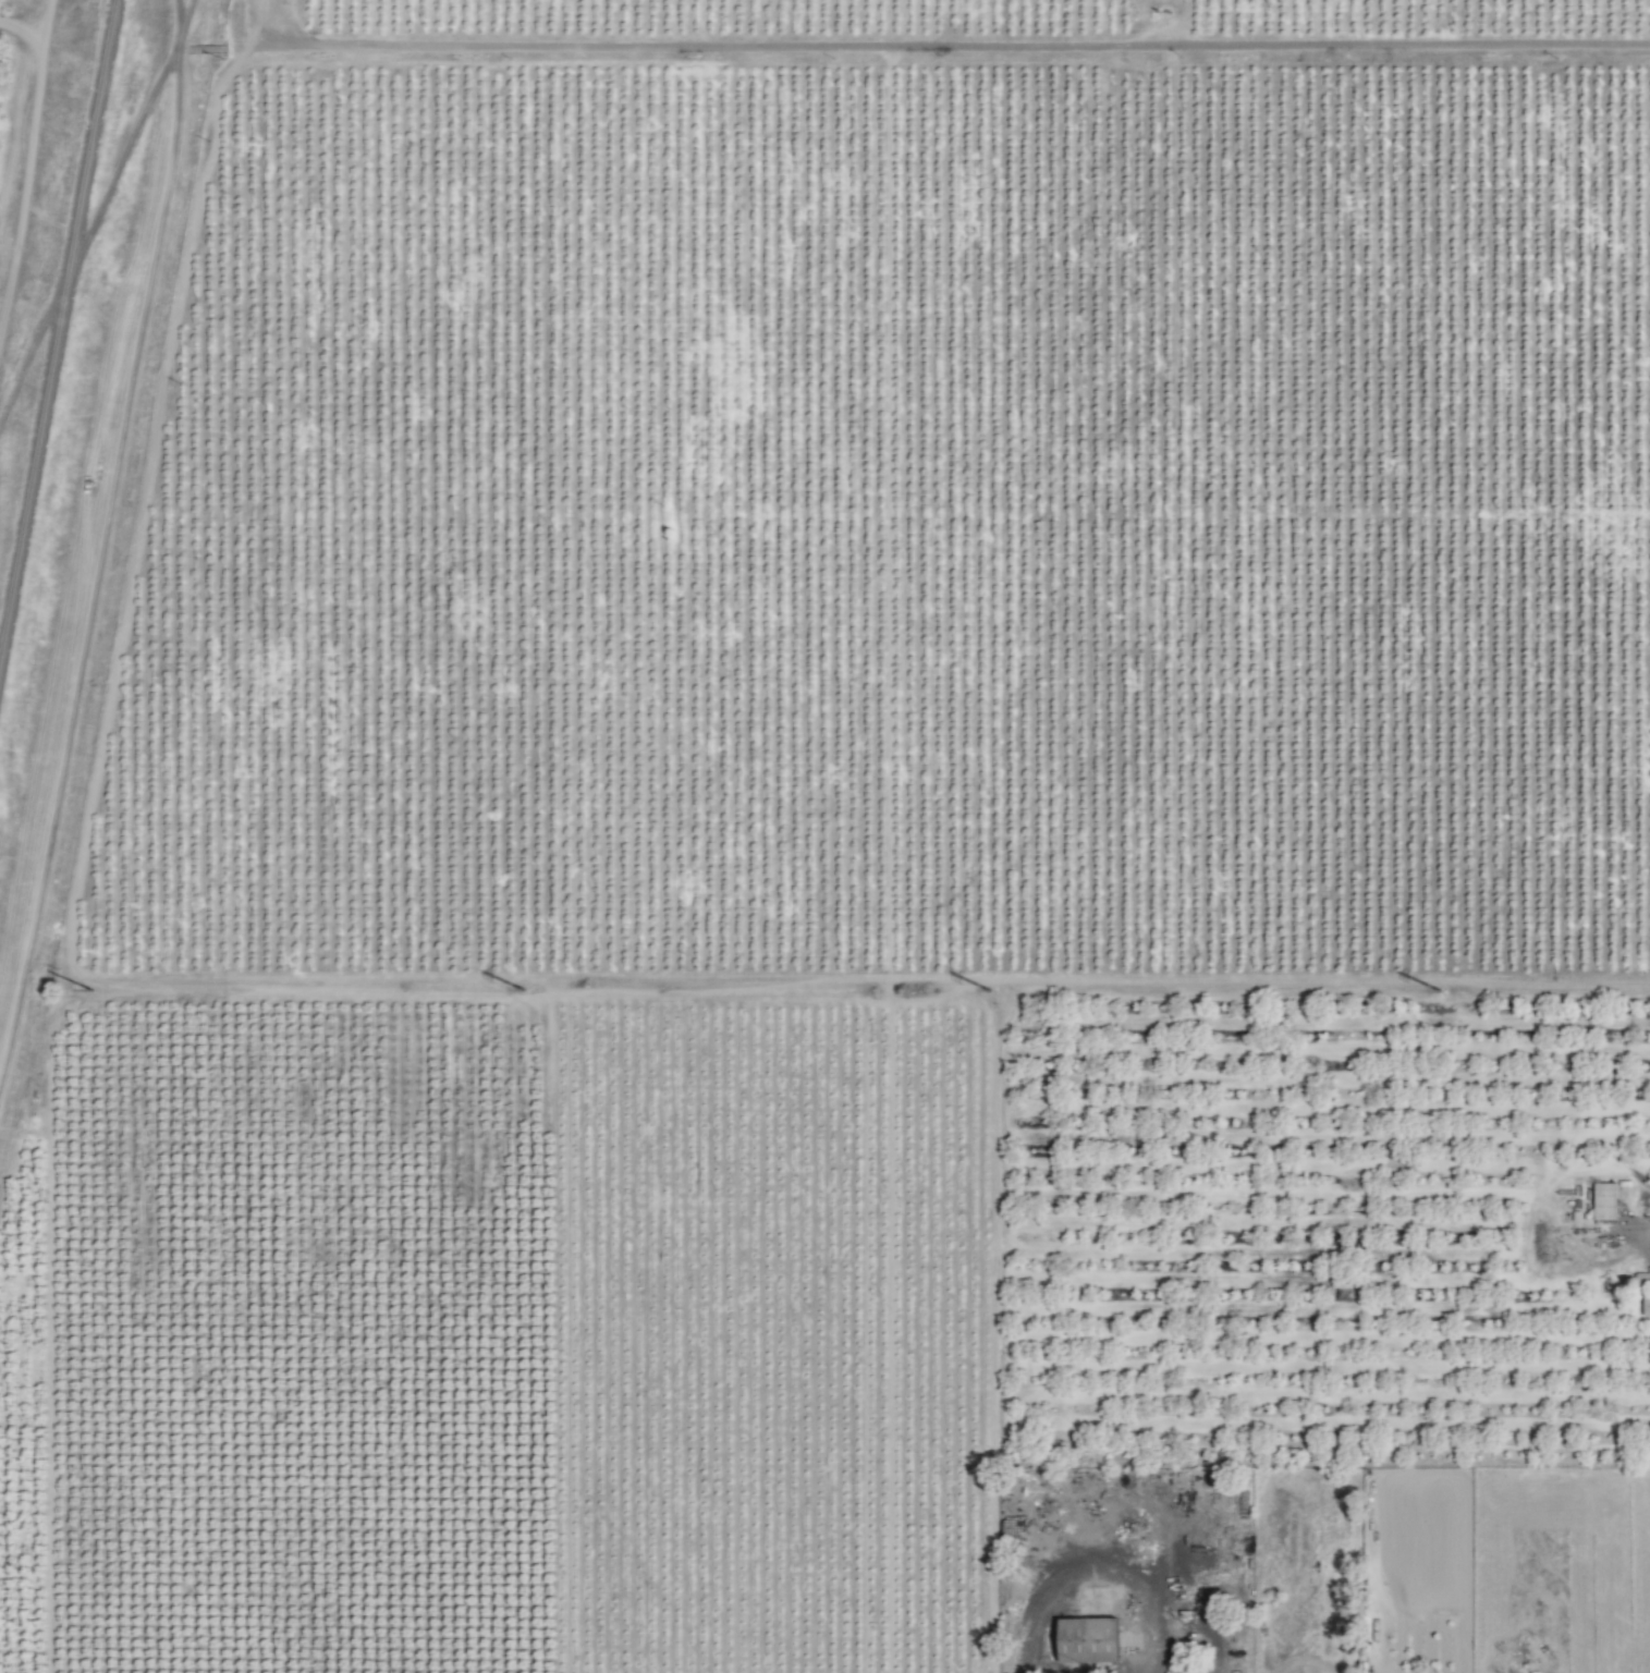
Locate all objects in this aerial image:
road: (1032, 47)
power tower: (539, 991)
power tower: (1001, 991)
power tower: (1451, 992)
building: (1606, 1201)
building: (1642, 1277)
building: (1647, 1306)
road: (1091, 1571)
building: (1092, 1639)

